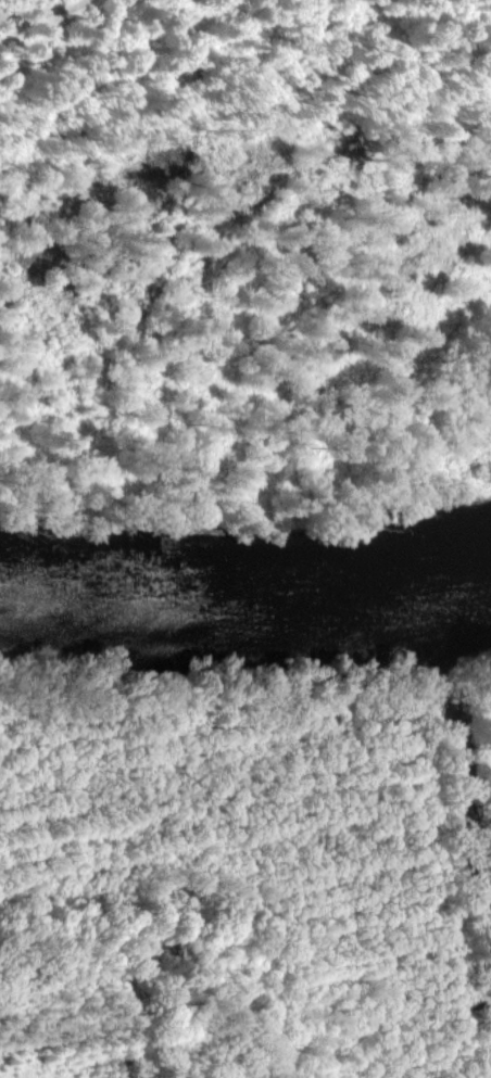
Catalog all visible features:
river: (247, 587)

